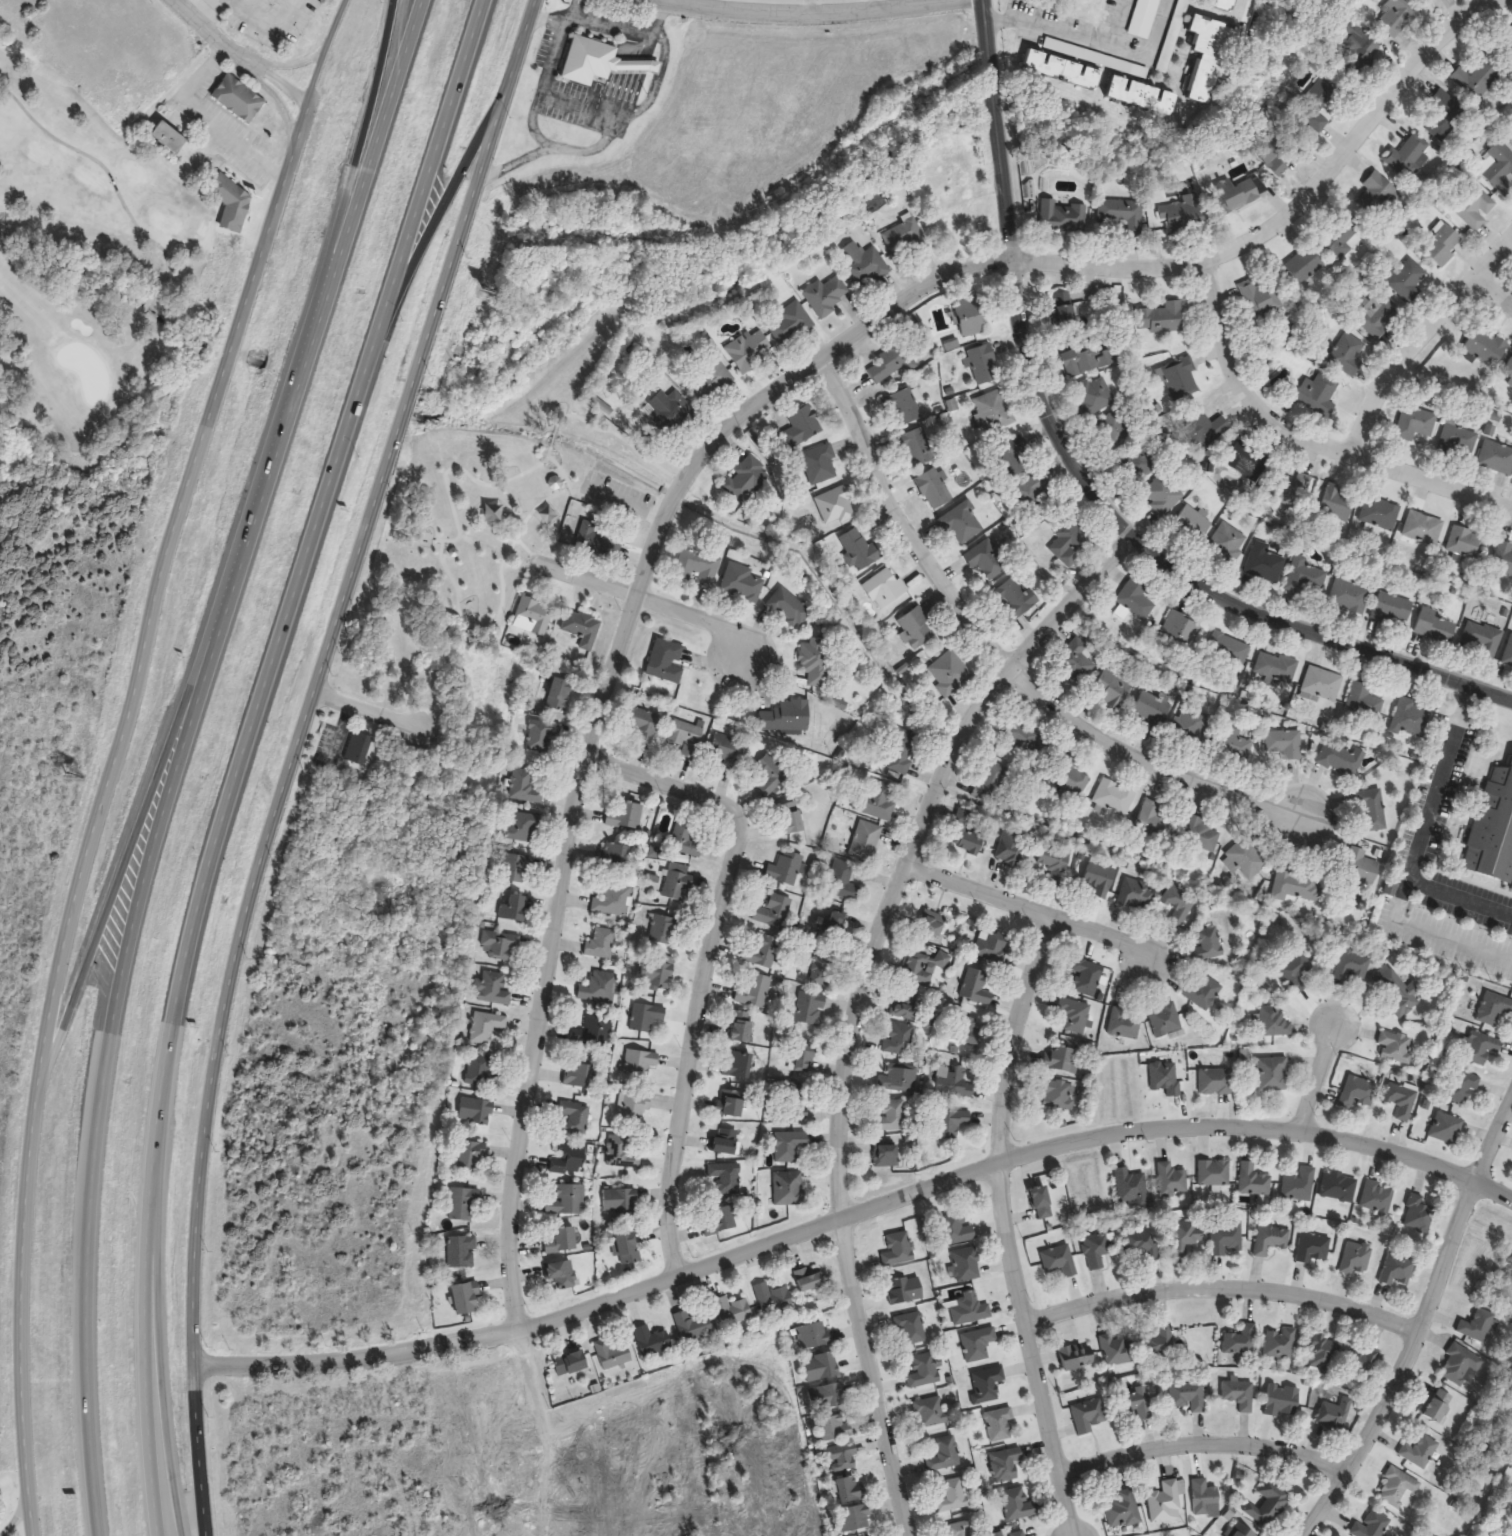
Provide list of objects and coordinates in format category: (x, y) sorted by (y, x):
road: (670, 2)
road: (683, 3)
building: (1224, 4)
road: (874, 7)
road: (809, 9)
road: (567, 11)
building: (1398, 15)
road: (655, 18)
building: (1144, 18)
road: (813, 19)
road: (546, 21)
road: (1116, 25)
road: (607, 28)
road: (1046, 30)
road: (525, 35)
building: (1508, 43)
building: (1358, 46)
road: (1151, 47)
road: (241, 55)
building: (1210, 58)
road: (290, 63)
building: (597, 70)
building: (1063, 70)
building: (1477, 80)
road: (540, 87)
building: (1143, 96)
building: (239, 99)
road: (279, 102)
building: (1316, 105)
road: (578, 109)
road: (630, 115)
road: (204, 116)
building: (1443, 117)
building: (169, 138)
building: (1274, 154)
road: (357, 156)
road: (368, 156)
building: (1408, 157)
road: (513, 163)
building: (1500, 168)
road: (430, 177)
building: (1238, 193)
building: (1377, 194)
building: (232, 201)
building: (1475, 208)
road: (440, 211)
building: (955, 211)
building: (1183, 215)
building: (1122, 216)
building: (1062, 217)
building: (1340, 235)
building: (904, 237)
building: (1442, 245)
road: (161, 249)
park: (91, 261)
building: (1304, 264)
building: (864, 265)
building: (1409, 280)
road: (1493, 291)
building: (827, 295)
building: (1260, 299)
building: (1064, 311)
building: (1379, 316)
building: (971, 317)
building: (1162, 318)
building: (792, 324)
road: (1419, 341)
building: (1485, 347)
building: (750, 350)
building: (1094, 355)
building: (1347, 355)
building: (892, 362)
building: (983, 364)
building: (1507, 375)
building: (711, 380)
building: (1179, 380)
building: (1318, 395)
building: (1096, 396)
building: (906, 407)
building: (994, 411)
building: (672, 413)
building: (1417, 422)
building: (803, 426)
building: (1205, 429)
building: (1114, 430)
building: (1457, 439)
road: (1304, 442)
building: (917, 448)
building: (1013, 454)
building: (1496, 458)
building: (1247, 461)
building: (819, 465)
building: (1137, 465)
road: (537, 466)
road: (562, 470)
road: (1084, 479)
building: (747, 480)
building: (934, 489)
building: (1032, 491)
building: (1292, 491)
building: (1163, 495)
building: (1338, 503)
park: (494, 506)
road: (623, 506)
building: (837, 506)
building: (1380, 513)
road: (663, 515)
building: (963, 524)
building: (1192, 525)
building: (1424, 529)
building: (597, 541)
road: (521, 542)
building: (1227, 542)
building: (1070, 543)
building: (1467, 543)
building: (860, 549)
building: (1503, 559)
building: (989, 560)
building: (1264, 563)
building: (698, 567)
building: (1305, 579)
building: (742, 583)
building: (885, 588)
road: (503, 593)
building: (1349, 596)
building: (1015, 599)
building: (1135, 599)
road: (647, 603)
road: (292, 607)
building: (789, 608)
building: (1393, 610)
building: (533, 617)
building: (1181, 627)
building: (1435, 627)
building: (583, 628)
building: (916, 629)
building: (1481, 639)
building: (1228, 652)
building: (1508, 654)
building: (1076, 660)
building: (666, 661)
building: (816, 662)
road: (999, 662)
building: (1277, 669)
building: (950, 673)
building: (1323, 684)
building: (1111, 690)
building: (556, 692)
building: (1364, 701)
road: (366, 710)
building: (1153, 710)
building: (787, 716)
building: (1410, 718)
building: (643, 723)
building: (1192, 725)
building: (542, 735)
building: (686, 737)
building: (1030, 741)
building: (1285, 743)
building: (1237, 746)
building: (359, 748)
building: (728, 750)
building: (903, 752)
road: (119, 756)
building: (1340, 760)
building: (770, 774)
building: (1070, 778)
building: (990, 783)
building: (526, 787)
road: (283, 790)
building: (1114, 798)
building: (877, 801)
building: (1371, 810)
building: (626, 816)
building: (792, 818)
building: (1152, 821)
building: (522, 827)
building: (1493, 828)
building: (970, 831)
building: (1202, 835)
road: (1423, 838)
building: (686, 839)
building: (866, 841)
building: (1011, 847)
building: (615, 856)
road: (130, 858)
building: (1245, 859)
building: (1057, 862)
building: (517, 868)
building: (1361, 868)
building: (787, 869)
building: (1099, 879)
building: (677, 882)
building: (842, 882)
building: (1295, 888)
building: (1135, 894)
building: (613, 901)
building: (1179, 902)
building: (514, 909)
building: (773, 911)
road: (135, 913)
road: (1028, 914)
building: (837, 925)
building: (932, 925)
building: (665, 929)
road: (1430, 937)
building: (500, 943)
building: (601, 943)
building: (1208, 944)
building: (991, 945)
building: (763, 952)
building: (1352, 965)
road: (708, 966)
building: (821, 967)
building: (925, 967)
building: (655, 971)
building: (1294, 971)
building: (1087, 976)
building: (977, 986)
building: (599, 988)
building: (493, 989)
building: (755, 991)
building: (1203, 993)
building: (1397, 993)
road: (861, 1002)
building: (905, 1005)
building: (810, 1008)
building: (1493, 1008)
building: (646, 1017)
building: (1076, 1017)
building: (1165, 1019)
building: (1274, 1022)
building: (1124, 1024)
building: (741, 1026)
building: (487, 1027)
building: (966, 1029)
building: (593, 1032)
building: (899, 1039)
building: (1396, 1046)
building: (1481, 1048)
building: (805, 1057)
building: (1061, 1060)
building: (639, 1062)
building: (738, 1064)
building: (480, 1071)
building: (1272, 1074)
building: (579, 1075)
building: (1165, 1077)
building: (899, 1079)
road: (1317, 1079)
building: (1215, 1081)
building: (953, 1083)
building: (1462, 1087)
building: (1359, 1090)
building: (1056, 1094)
building: (794, 1099)
building: (1401, 1099)
building: (731, 1103)
building: (632, 1107)
building: (475, 1110)
building: (892, 1116)
building: (575, 1117)
building: (951, 1123)
building: (1446, 1128)
building: (723, 1142)
building: (789, 1146)
building: (622, 1153)
building: (469, 1155)
building: (885, 1155)
building: (568, 1159)
building: (1214, 1173)
building: (725, 1177)
building: (1172, 1180)
building: (1254, 1180)
building: (1299, 1186)
building: (1339, 1187)
building: (789, 1188)
building: (1132, 1189)
road: (147, 1194)
building: (1378, 1199)
building: (567, 1200)
building: (620, 1201)
building: (1042, 1202)
building: (463, 1204)
building: (1419, 1214)
road: (854, 1216)
building: (718, 1221)
road: (999, 1228)
building: (955, 1230)
building: (1186, 1237)
building: (1226, 1238)
building: (1271, 1239)
building: (562, 1241)
building: (1141, 1243)
building: (1313, 1248)
building: (627, 1249)
building: (897, 1249)
building: (1098, 1250)
building: (461, 1252)
building: (1357, 1258)
building: (1059, 1261)
building: (966, 1264)
building: (1398, 1271)
building: (561, 1274)
road: (161, 1276)
building: (808, 1279)
building: (905, 1290)
road: (1222, 1291)
building: (465, 1299)
building: (773, 1299)
building: (970, 1309)
building: (733, 1312)
road: (1421, 1323)
building: (1479, 1326)
building: (693, 1327)
building: (911, 1328)
building: (812, 1336)
building: (652, 1341)
building: (1241, 1341)
building: (1159, 1342)
building: (978, 1344)
building: (1281, 1344)
building: (1117, 1350)
building: (1321, 1354)
building: (613, 1355)
building: (1077, 1356)
building: (571, 1363)
building: (821, 1367)
building: (1461, 1367)
building: (1357, 1368)
building: (924, 1371)
building: (987, 1385)
building: (1239, 1394)
building: (1189, 1395)
building: (826, 1397)
building: (1282, 1401)
building: (1138, 1403)
building: (1438, 1407)
building: (930, 1412)
building: (1333, 1414)
building: (1088, 1416)
building: (1000, 1425)
building: (834, 1428)
road: (1199, 1445)
building: (1419, 1452)
building: (945, 1454)
building: (841, 1457)
building: (1006, 1464)
building: (851, 1489)
building: (1399, 1490)
road: (716, 1492)
building: (953, 1496)
building: (1204, 1497)
building: (1165, 1503)
building: (1268, 1504)
building: (1017, 1505)
building: (1122, 1510)
building: (854, 1519)
building: (1371, 1525)
building: (960, 1528)
building: (1239, 1530)
building: (1021, 1534)
building: (874, 1535)

